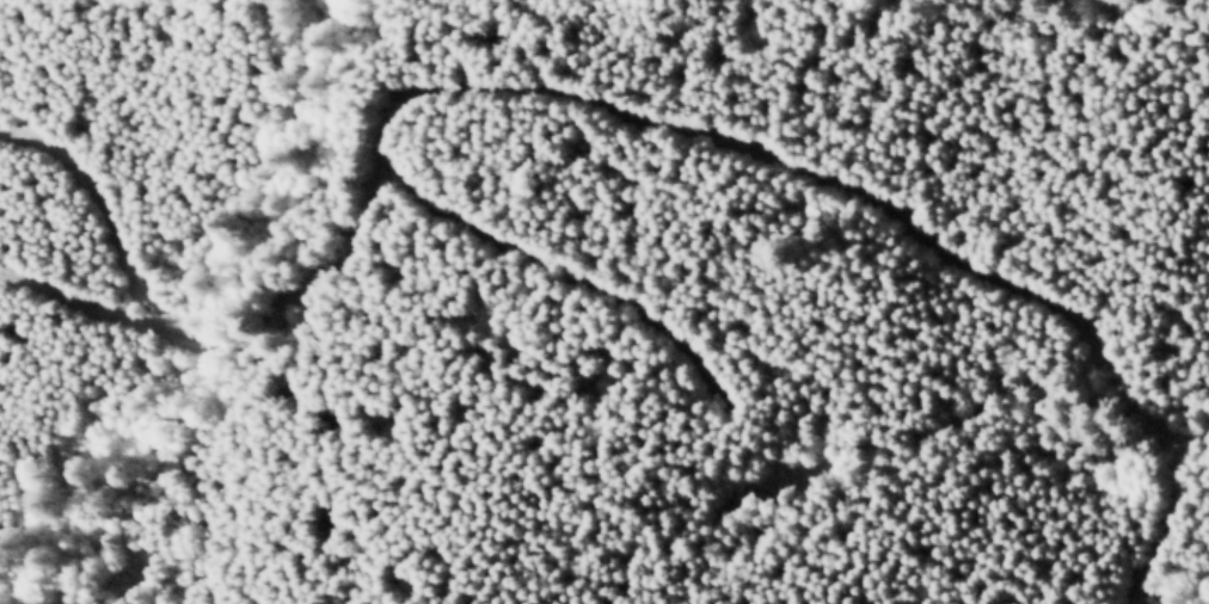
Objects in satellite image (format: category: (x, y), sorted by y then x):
road: (642, 116)
road: (111, 208)
road: (561, 269)

